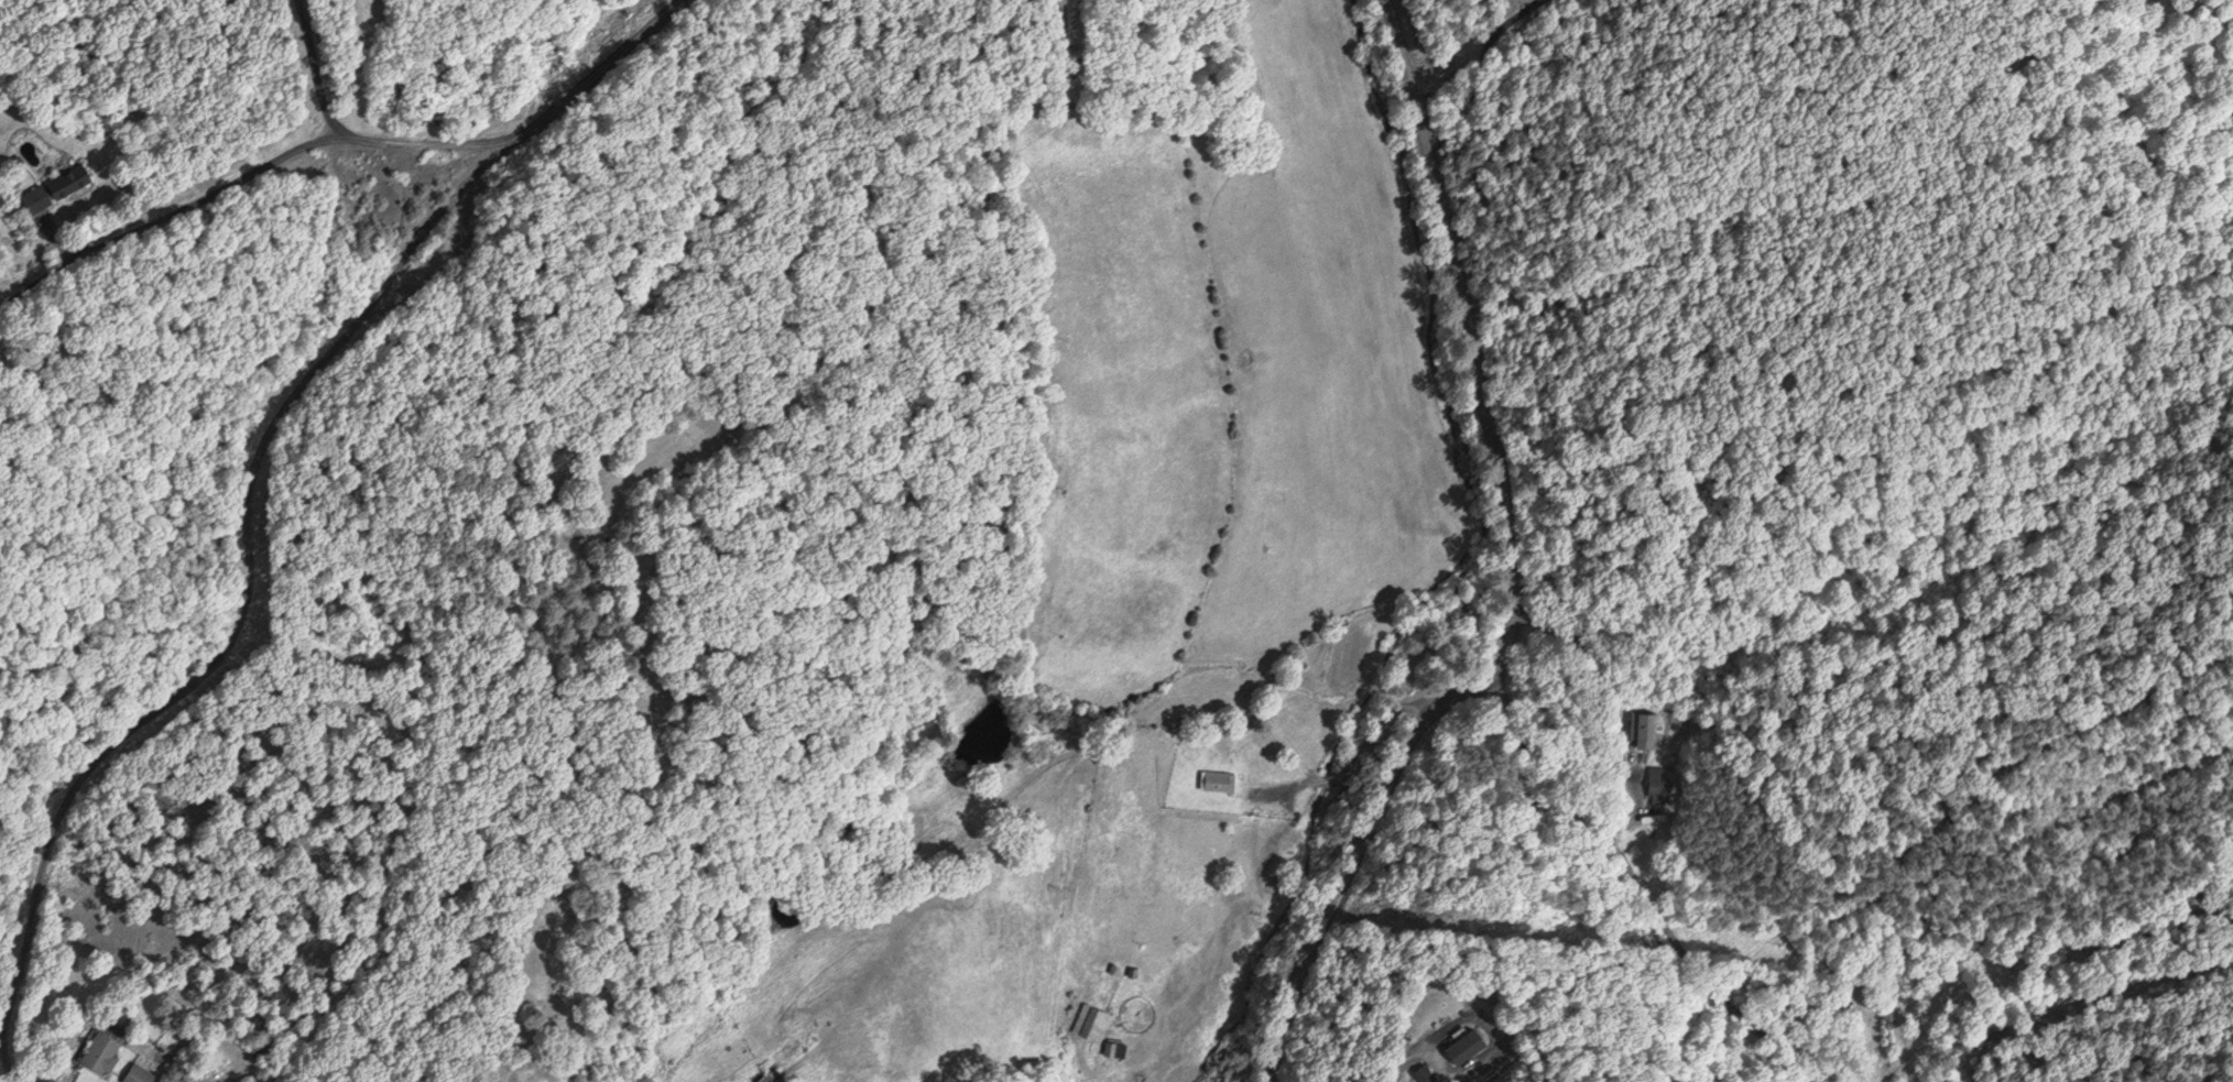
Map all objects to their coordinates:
park: (580, 34)
road: (1478, 55)
road: (353, 139)
building: (57, 185)
road: (270, 420)
road: (1501, 573)
building: (1647, 726)
building: (1219, 777)
building: (1852, 1009)
building: (1096, 1018)
building: (1462, 1043)
building: (1112, 1046)
building: (102, 1048)
building: (138, 1072)

